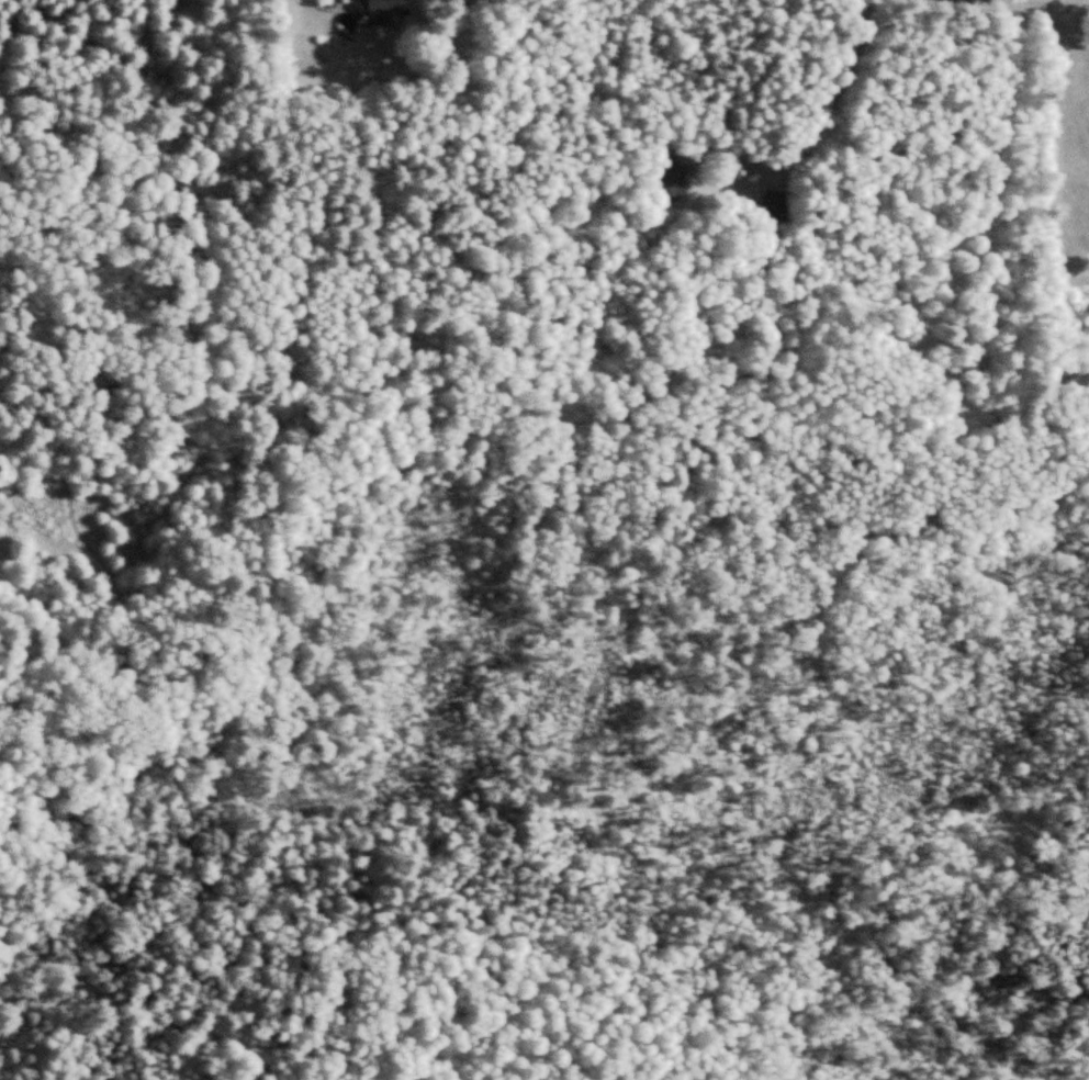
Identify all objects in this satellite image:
road: (1035, 4)
building: (390, 11)
building: (672, 180)
building: (773, 201)

